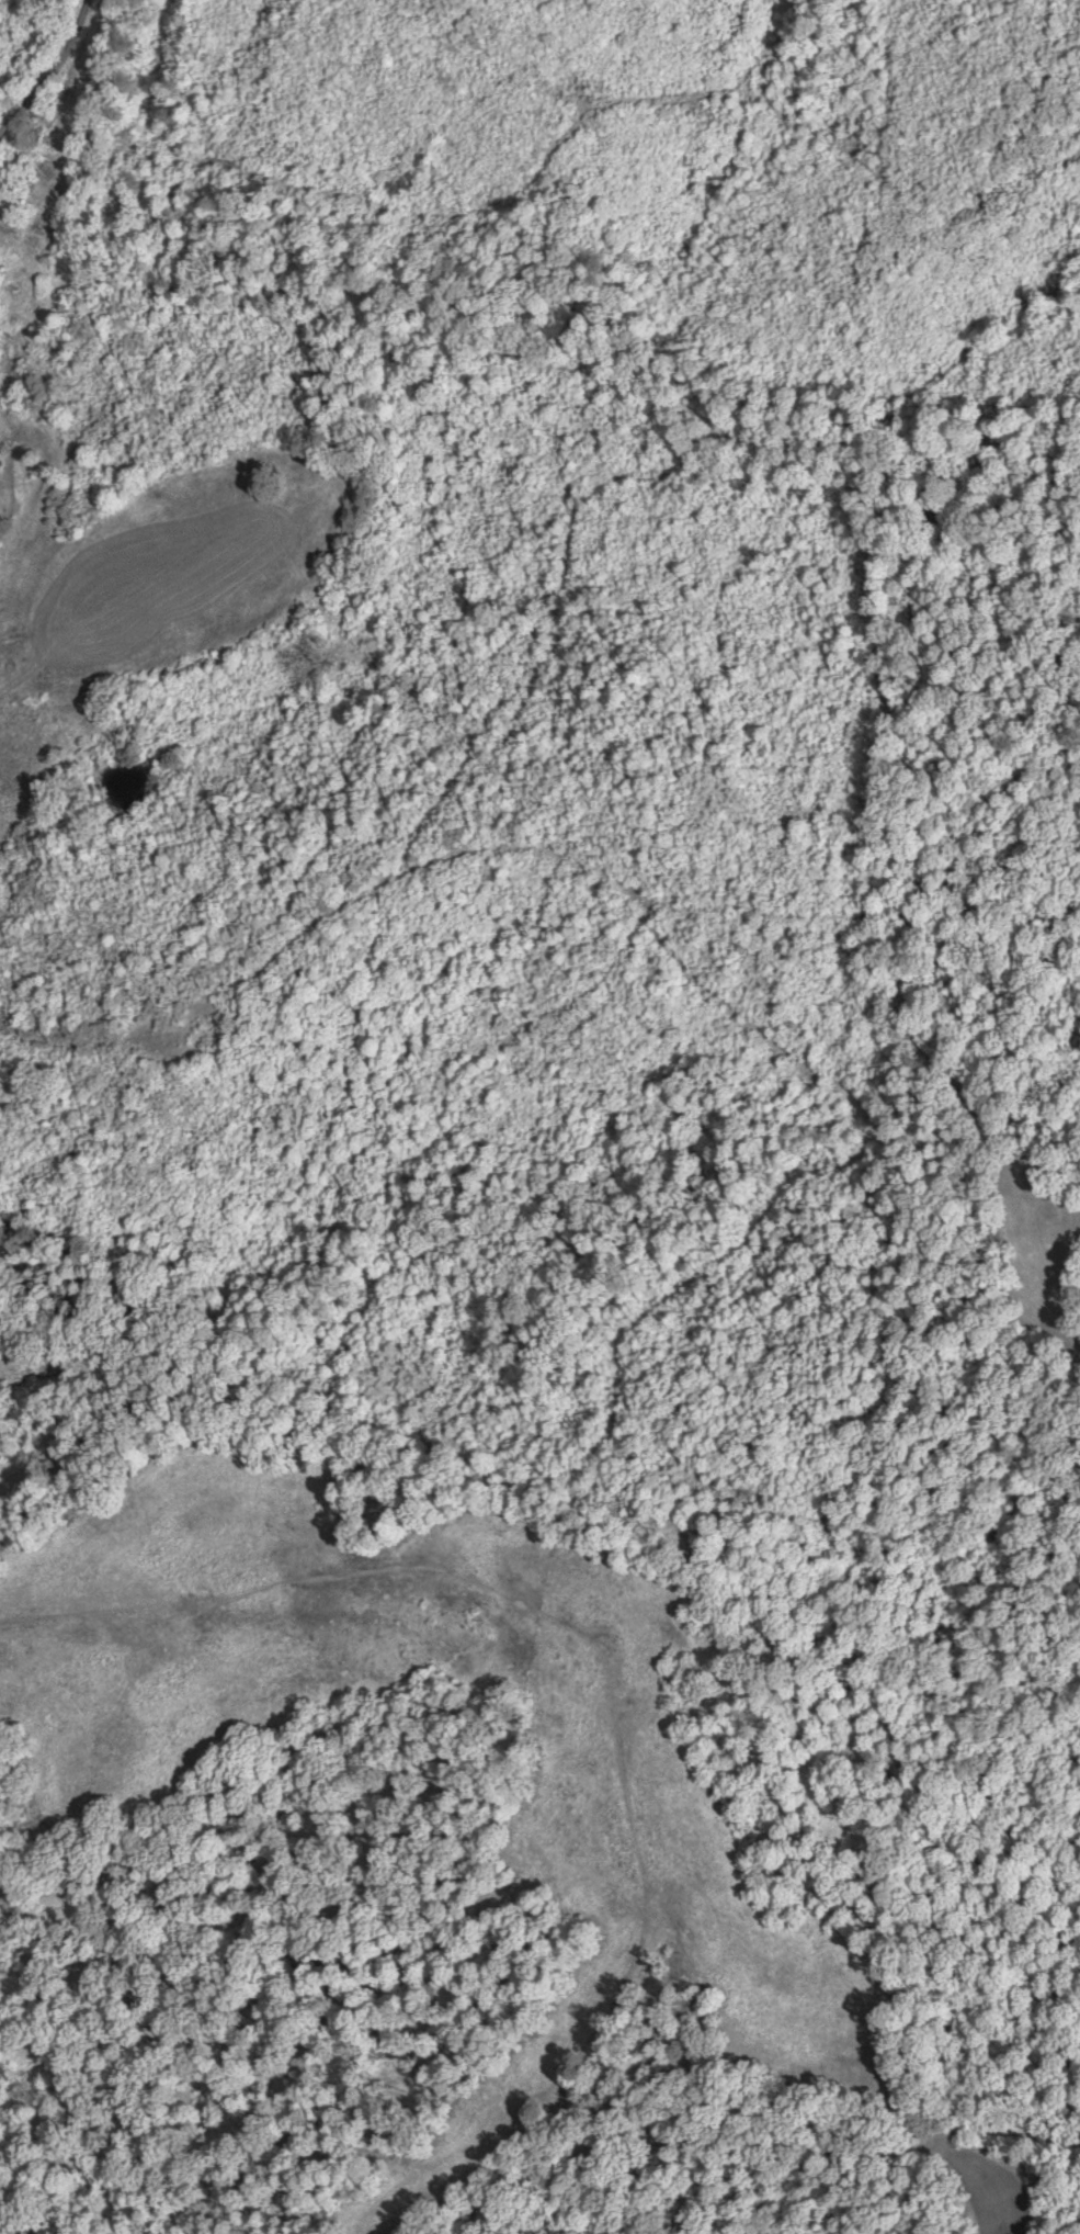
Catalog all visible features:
road: (68, 127)

